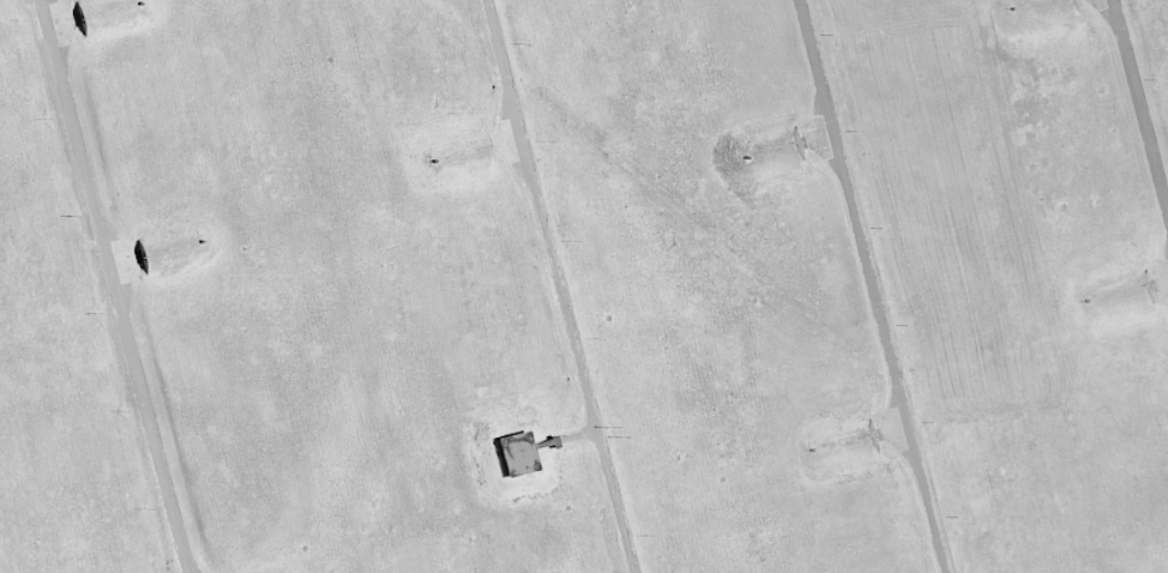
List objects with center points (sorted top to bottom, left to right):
road: (1140, 105)
road: (115, 286)
road: (560, 286)
road: (874, 286)
building: (514, 453)

